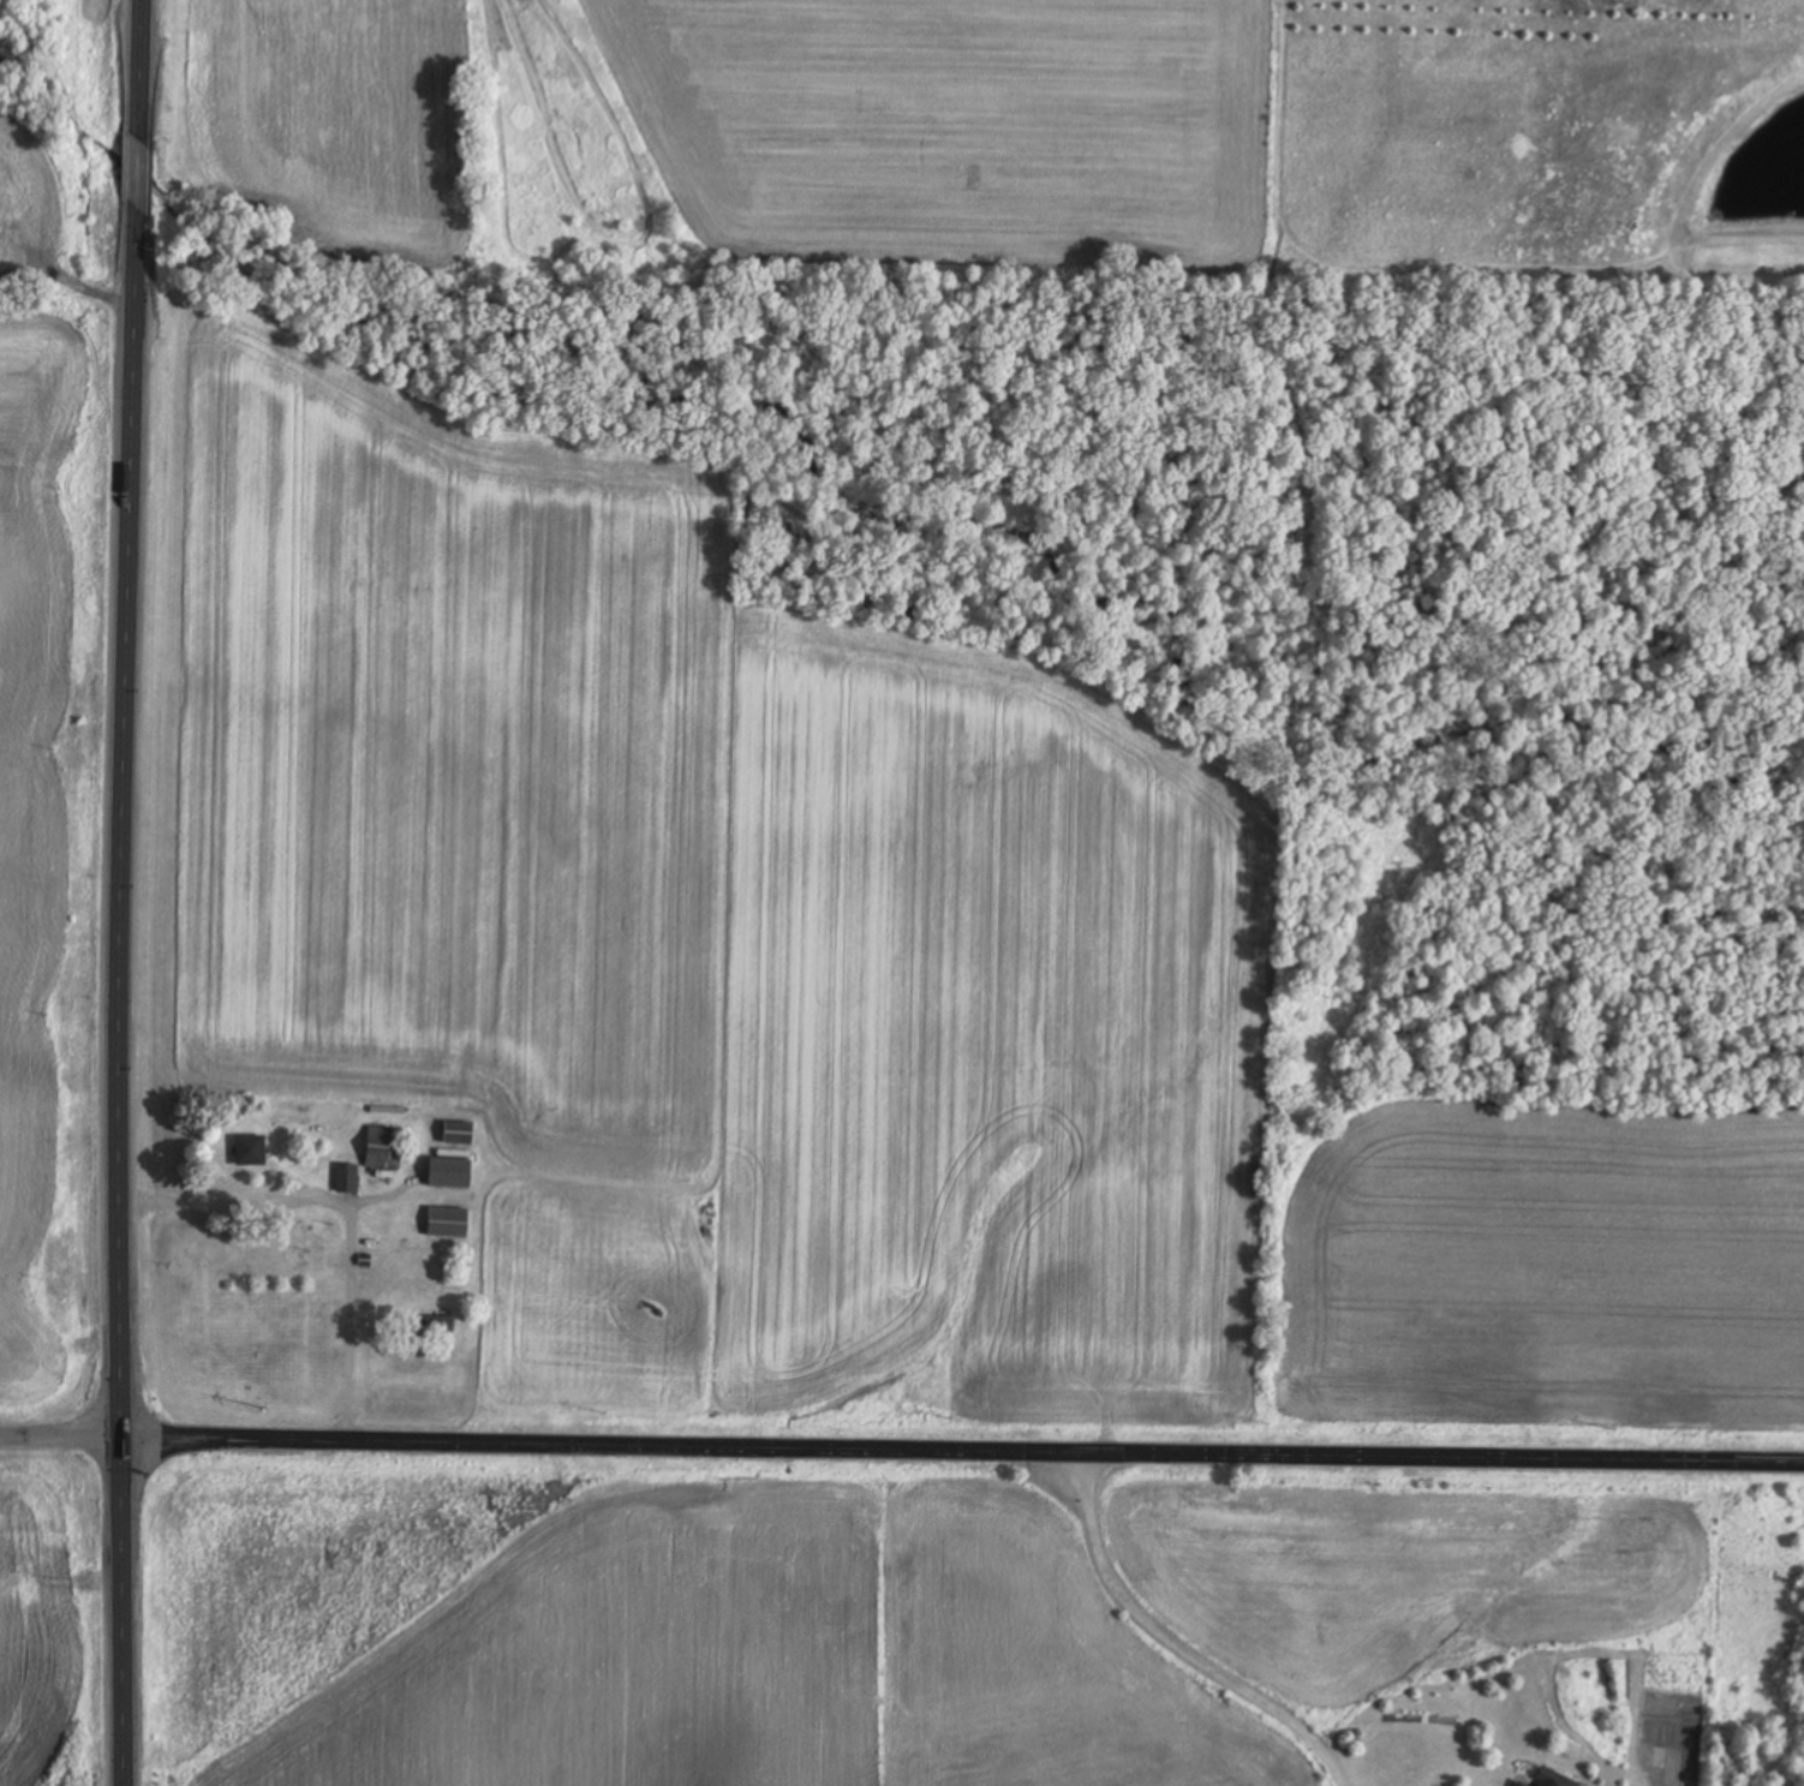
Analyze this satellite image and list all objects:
road: (121, 892)
building: (459, 1135)
building: (384, 1149)
building: (250, 1152)
building: (449, 1173)
building: (347, 1181)
building: (448, 1224)
building: (435, 1326)
road: (61, 1442)
road: (962, 1458)
road: (1178, 1648)
building: (1554, 1780)
building: (1518, 1785)

